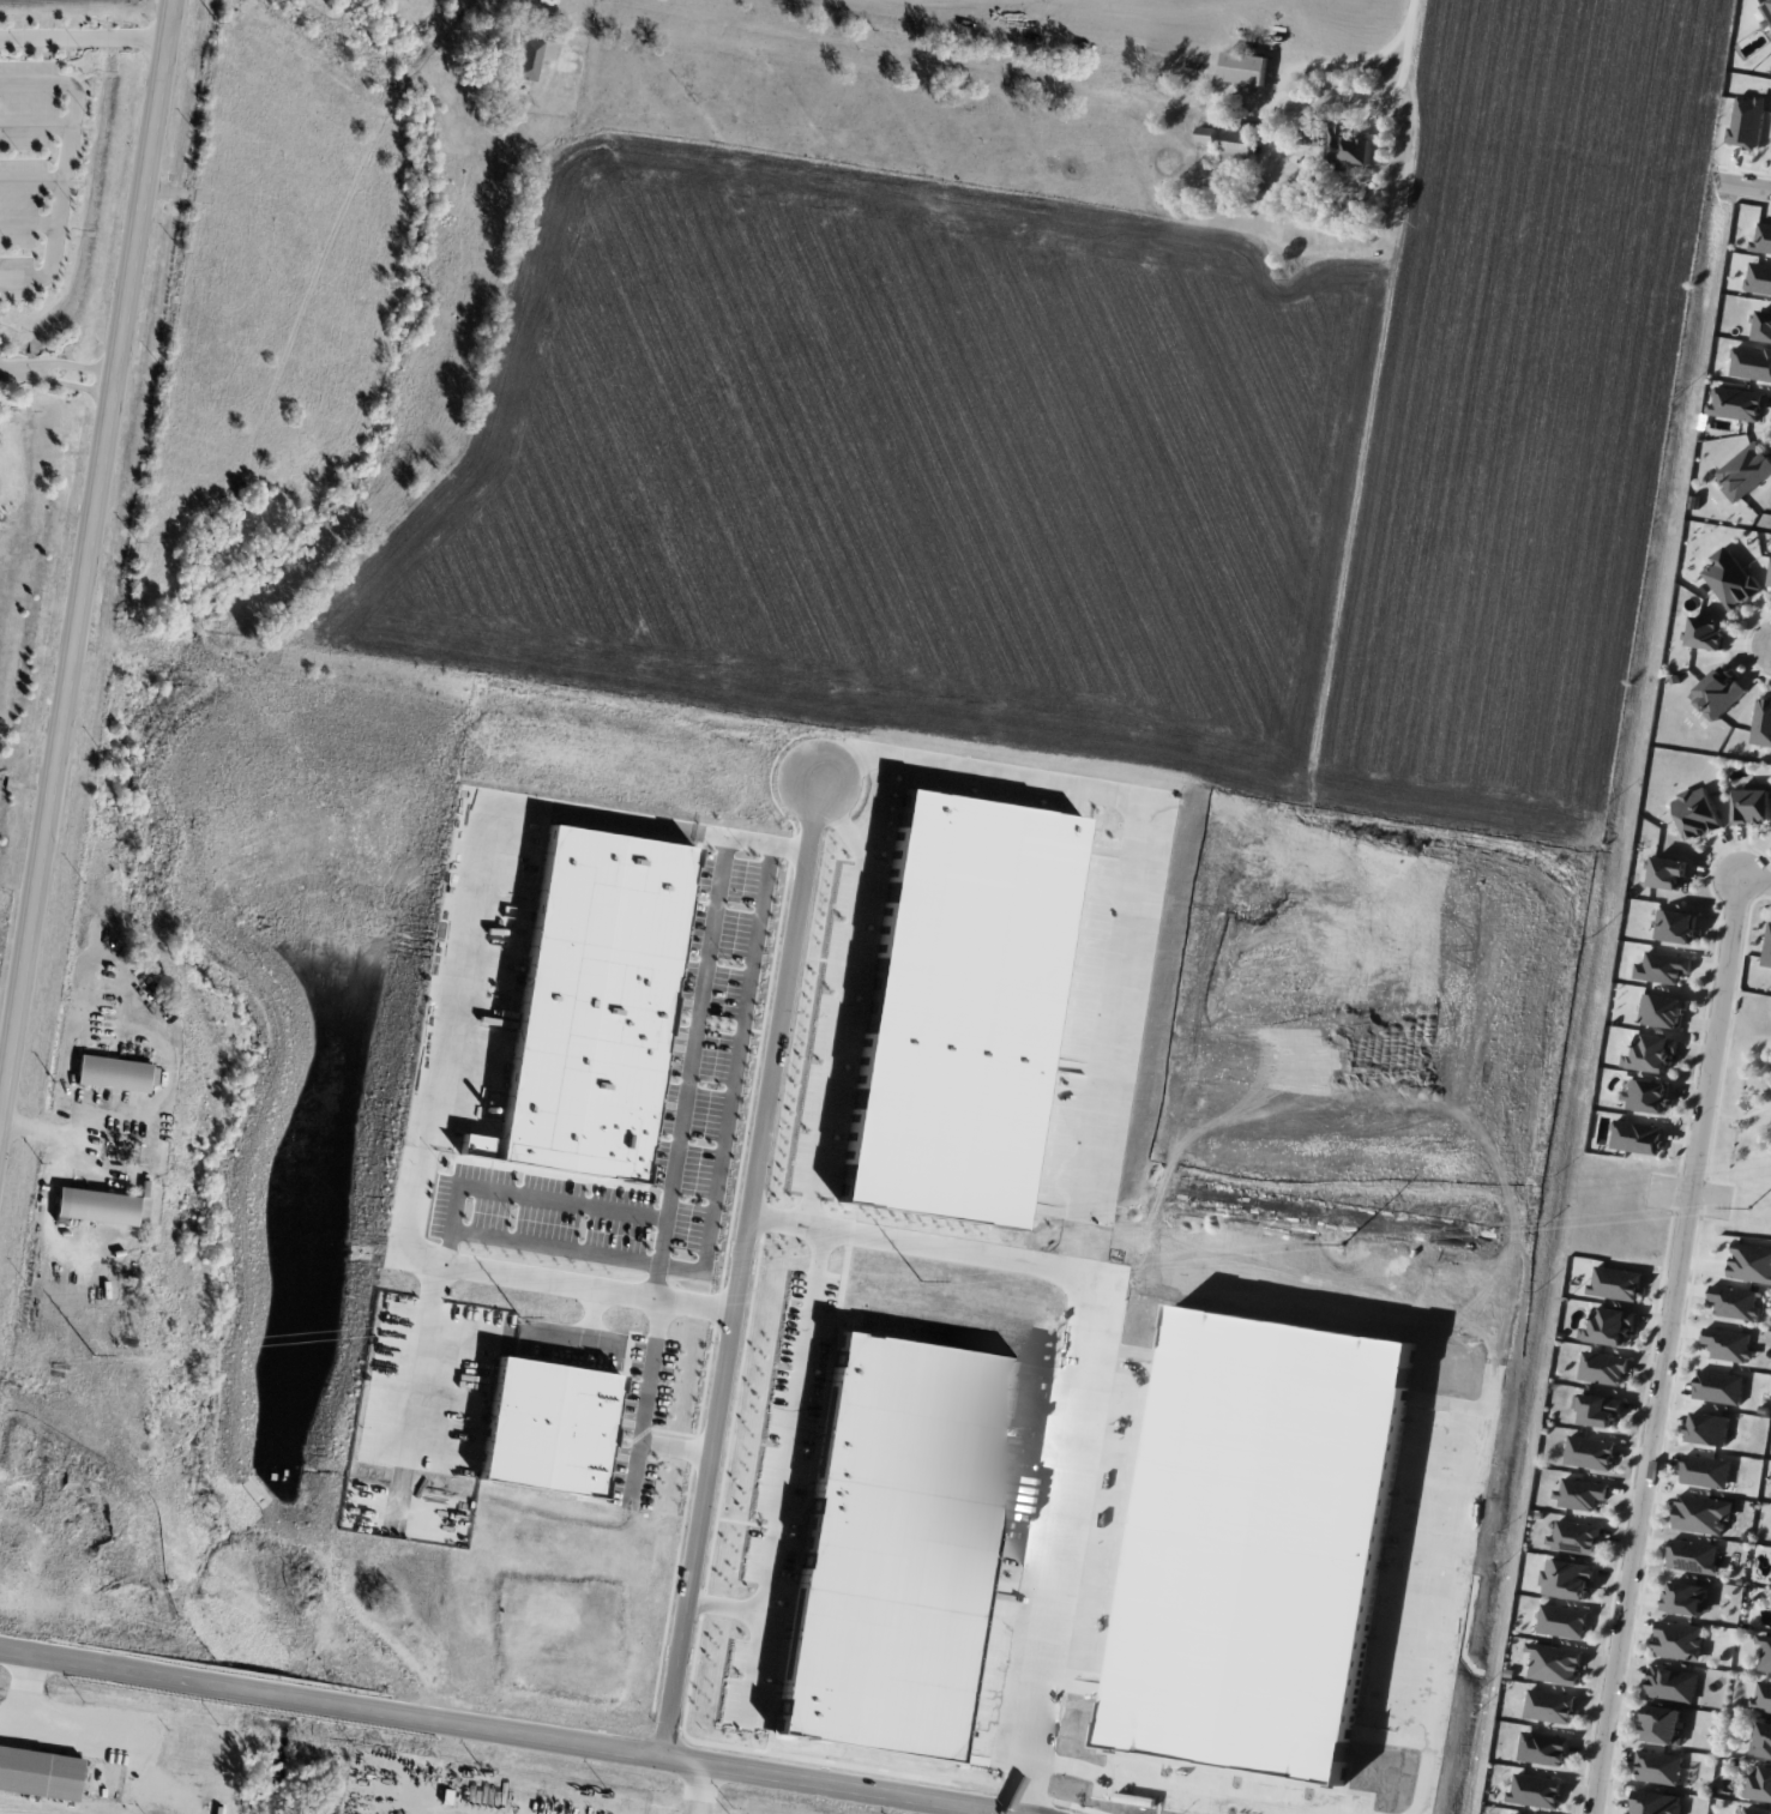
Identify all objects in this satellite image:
road: (1412, 11)
building: (1766, 12)
road: (84, 38)
building: (528, 59)
building: (1243, 67)
road: (1290, 103)
building: (1746, 121)
road: (35, 127)
building: (1205, 133)
building: (1311, 134)
building: (1239, 143)
building: (1348, 149)
road: (64, 168)
parking lot: (35, 170)
road: (31, 180)
road: (1742, 186)
road: (28, 223)
building: (1763, 236)
building: (1758, 277)
building: (1764, 325)
building: (1751, 362)
road: (61, 363)
road: (5, 368)
road: (60, 382)
building: (1735, 403)
building: (1745, 471)
road: (85, 562)
building: (1729, 578)
building: (1770, 583)
building: (1706, 632)
building: (1718, 691)
building: (1761, 722)
building: (1753, 803)
building: (1697, 813)
building: (1668, 872)
road: (1757, 880)
building: (1675, 926)
road: (480, 929)
building: (1767, 946)
building: (1662, 966)
road: (703, 987)
building: (1661, 1010)
building: (595, 1012)
building: (1652, 1051)
building: (112, 1072)
road: (736, 1080)
building: (1645, 1095)
road: (42, 1132)
building: (1636, 1137)
road: (1691, 1193)
road: (567, 1201)
building: (98, 1206)
power tower: (1749, 1207)
power tower: (1341, 1243)
road: (555, 1248)
building: (1751, 1262)
road: (740, 1266)
power tower: (920, 1279)
building: (1615, 1283)
road: (589, 1284)
building: (1735, 1301)
power tower: (519, 1315)
building: (1610, 1325)
road: (538, 1334)
building: (1728, 1344)
road: (1668, 1345)
power tower: (90, 1354)
road: (427, 1354)
road: (1092, 1367)
building: (1602, 1367)
building: (1718, 1386)
road: (646, 1396)
building: (1598, 1409)
building: (1707, 1428)
building: (540, 1436)
road: (675, 1446)
building: (1589, 1452)
road: (787, 1459)
building: (1705, 1470)
building: (1580, 1493)
building: (1701, 1513)
building: (1574, 1536)
building: (893, 1544)
building: (1693, 1555)
building: (1566, 1578)
building: (1683, 1598)
building: (1562, 1621)
building: (1679, 1640)
building: (1765, 1652)
building: (1554, 1662)
road: (753, 1667)
building: (1110, 1671)
building: (1671, 1683)
building: (1761, 1695)
building: (1549, 1705)
building: (1662, 1724)
road: (500, 1728)
road: (74, 1735)
building: (1764, 1740)
building: (1542, 1748)
building: (1158, 1752)
building: (1658, 1767)
building: (40, 1772)
building: (1760, 1782)
road: (704, 1789)
building: (1535, 1790)
building: (1656, 1802)
building: (1757, 1810)
building: (1516, 1813)

